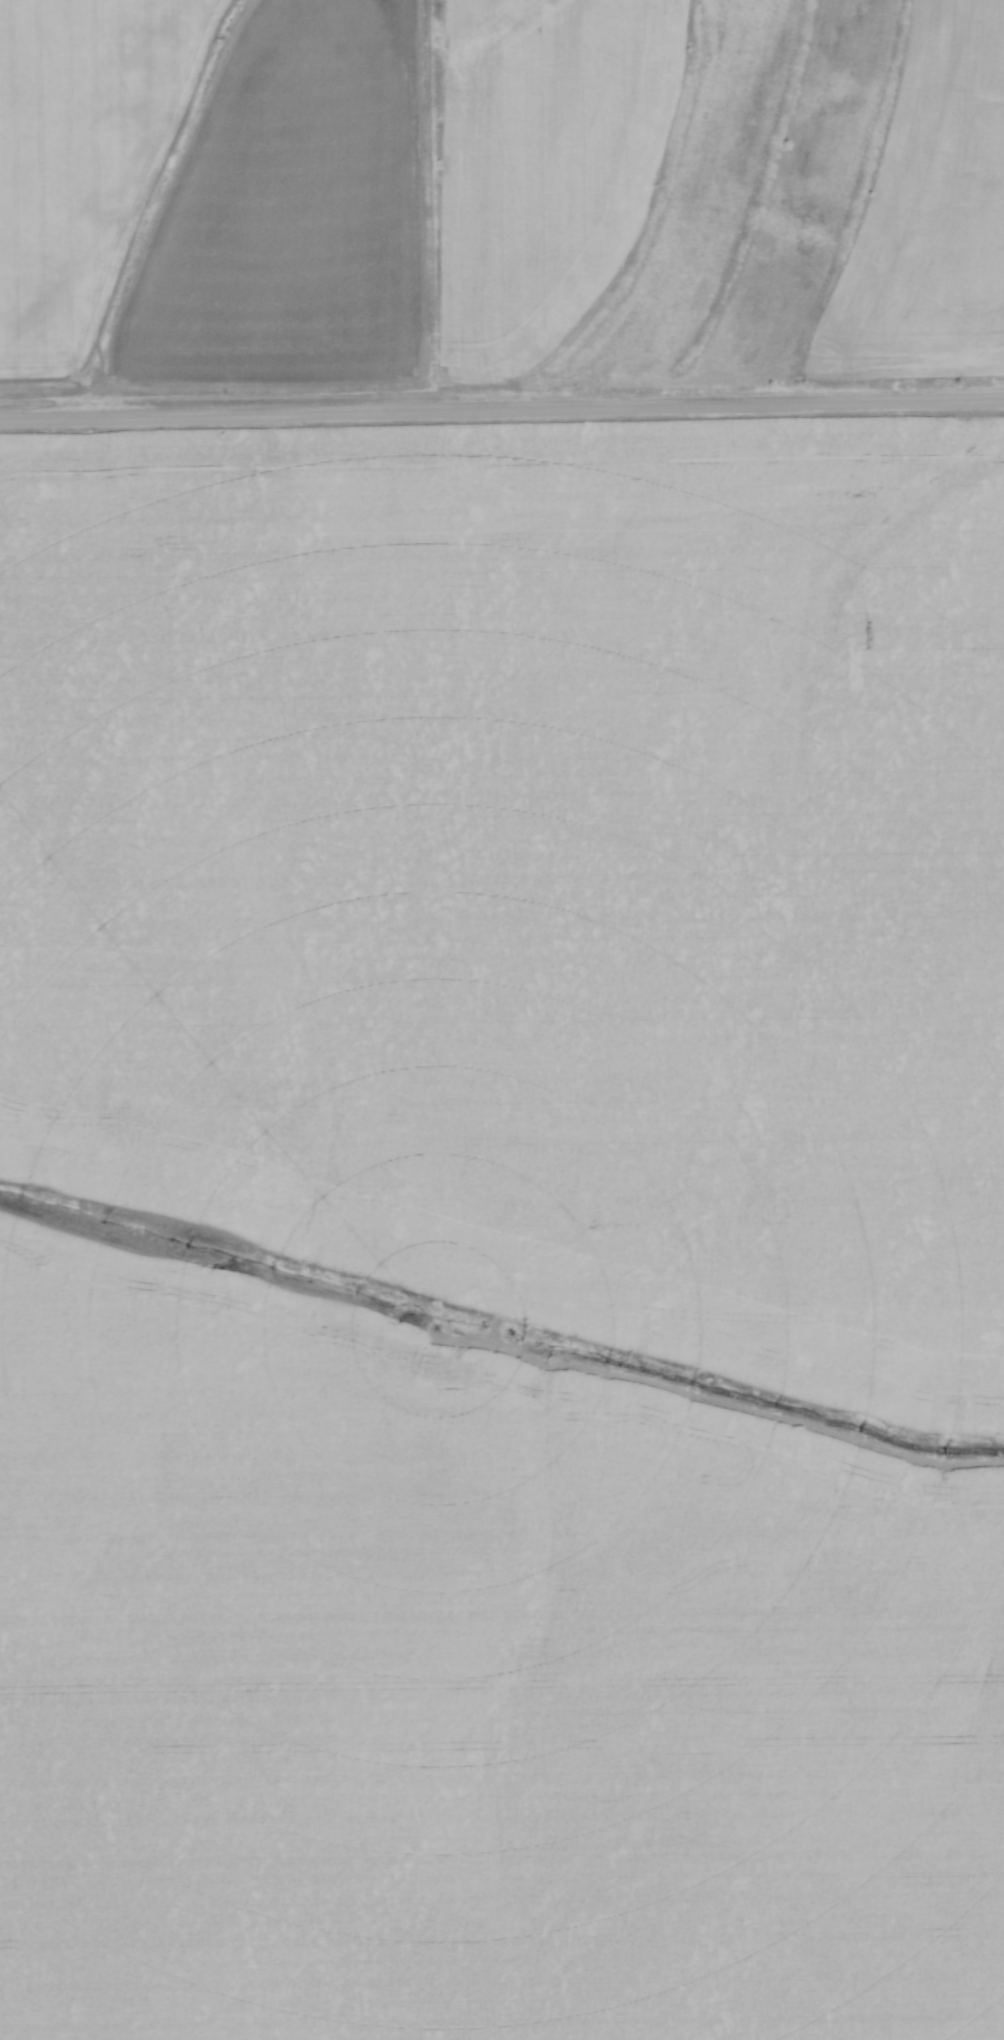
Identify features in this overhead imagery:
road: (502, 414)

